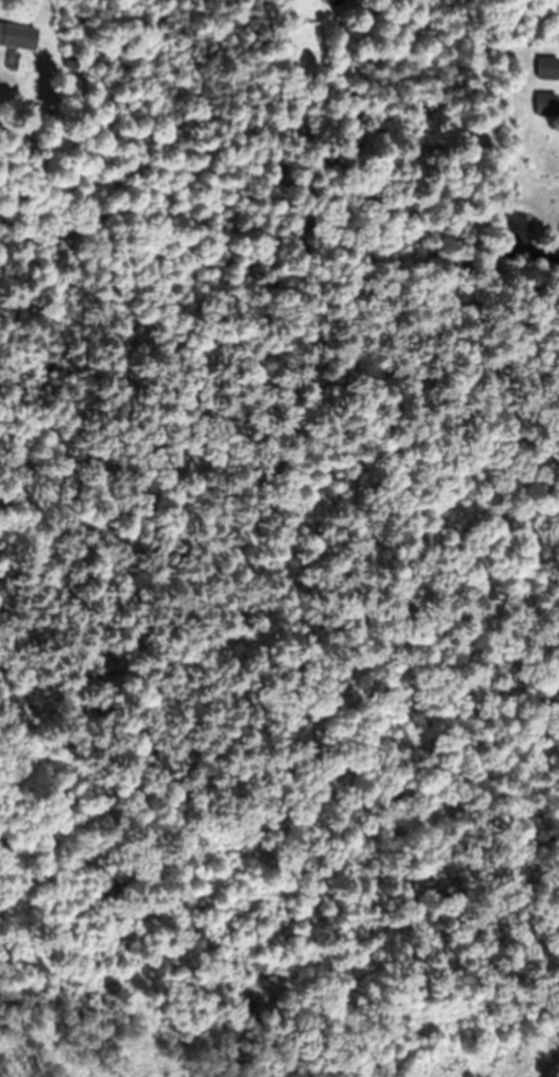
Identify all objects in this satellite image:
building: (312, 0)
building: (18, 37)
building: (548, 69)
building: (547, 106)

